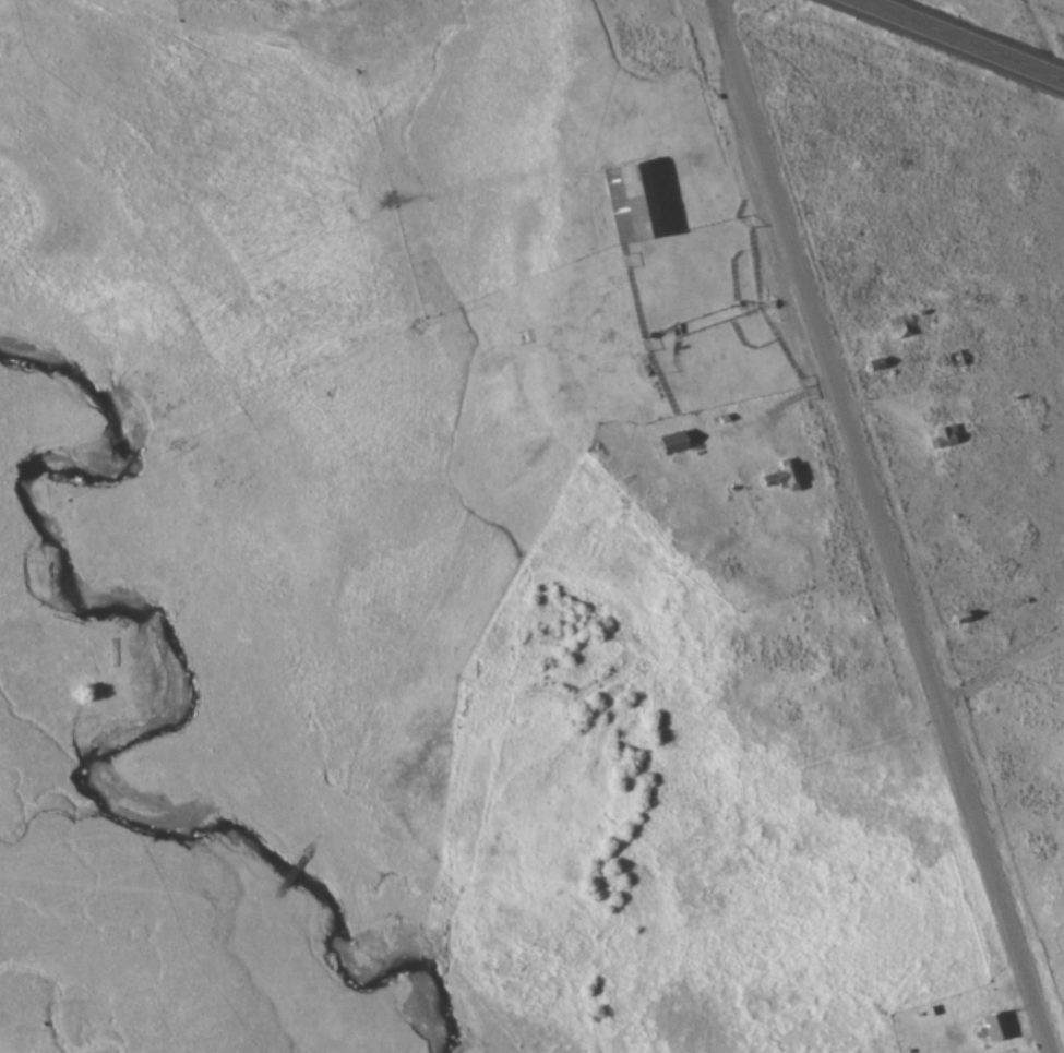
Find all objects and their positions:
road: (965, 39)
building: (635, 199)
building: (902, 327)
building: (944, 438)
road: (882, 527)
road: (1001, 669)
building: (993, 1026)

